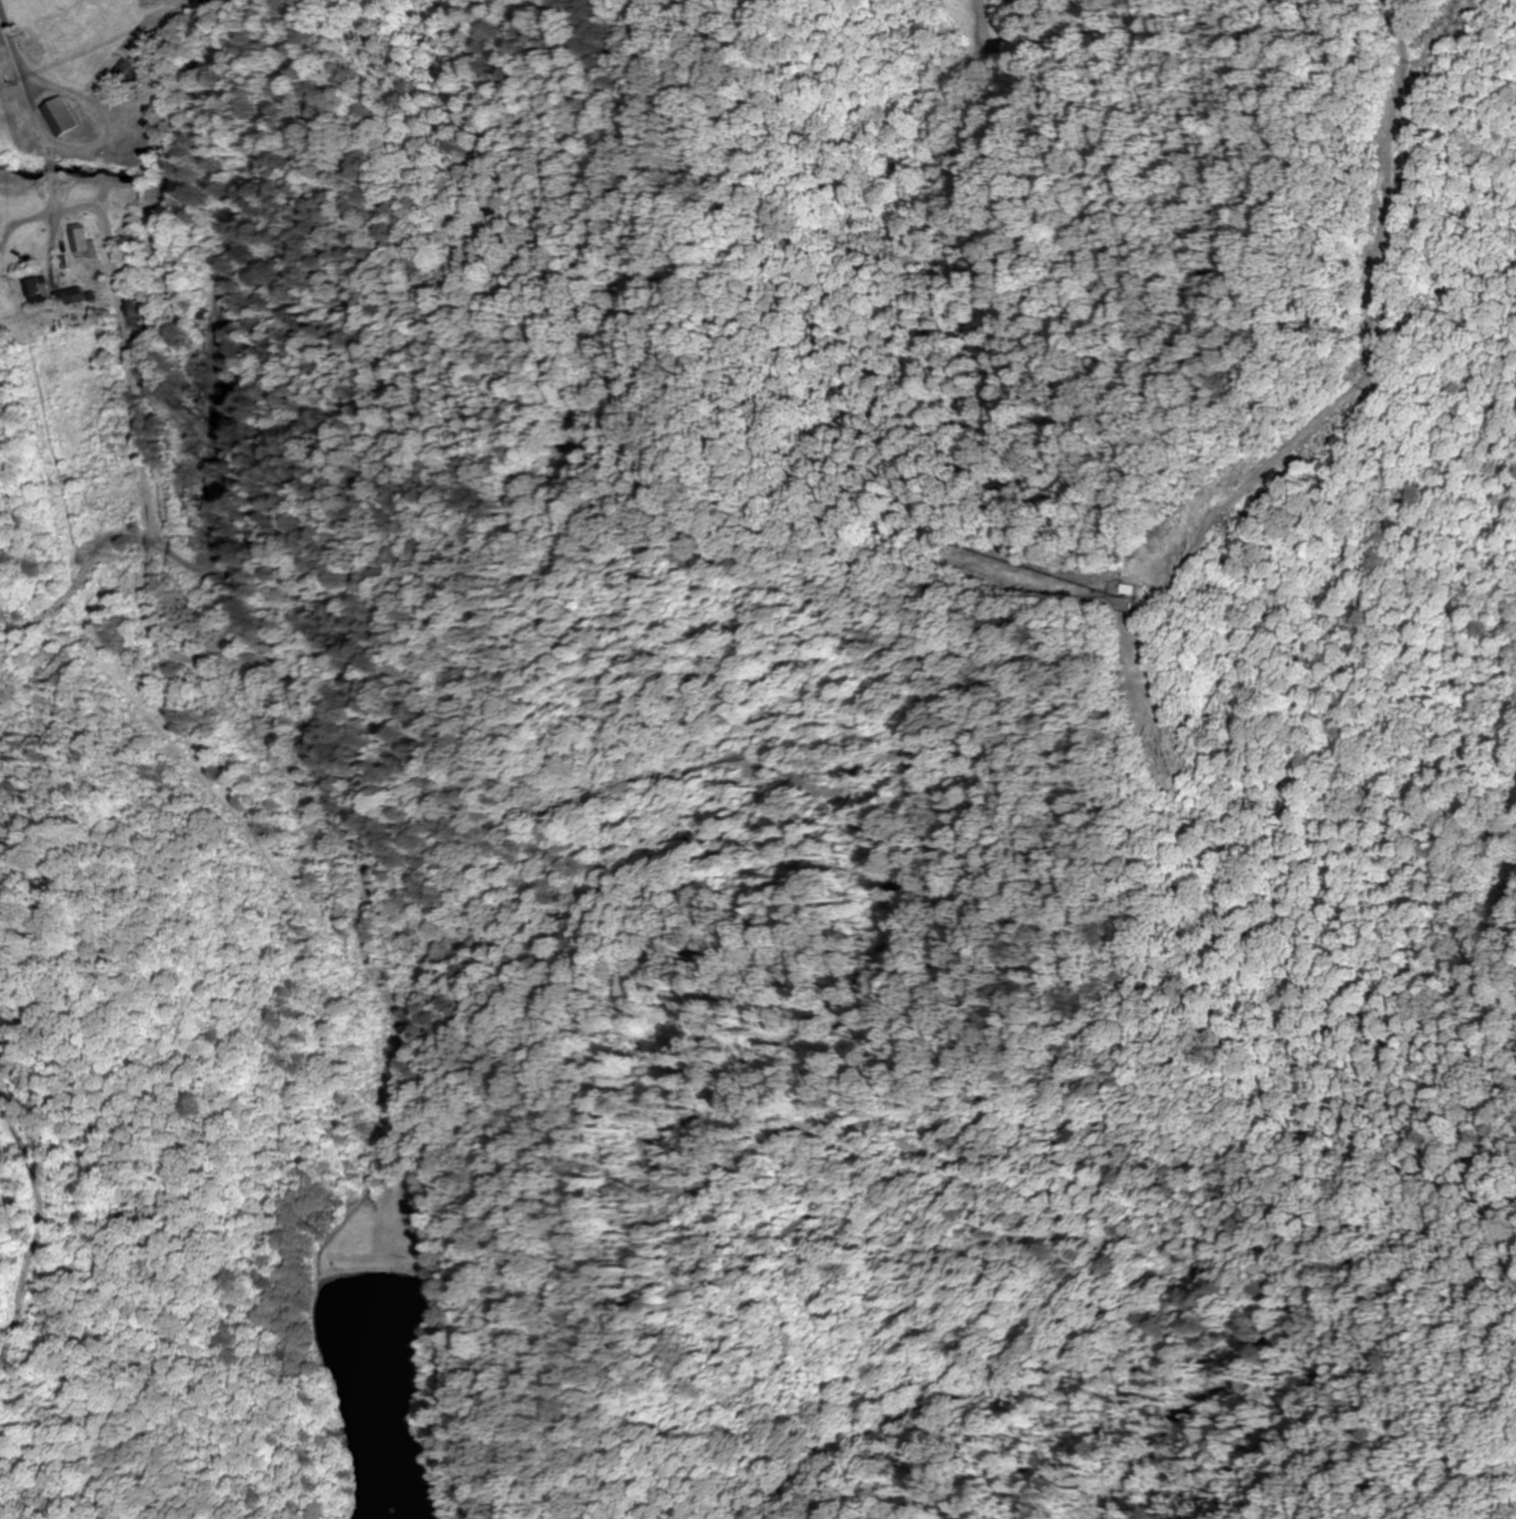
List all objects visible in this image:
road: (12, 42)
building: (125, 75)
building: (67, 117)
building: (85, 244)
building: (53, 293)
building: (130, 314)
building: (1139, 589)

